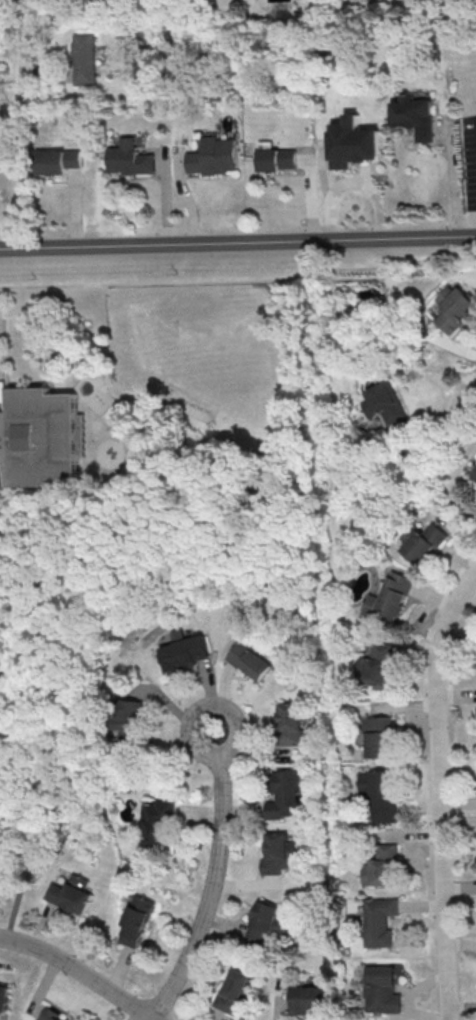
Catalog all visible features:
road: (26, 41)
building: (84, 59)
building: (415, 115)
building: (354, 142)
building: (215, 156)
building: (277, 157)
building: (130, 158)
building: (59, 161)
road: (355, 181)
road: (455, 182)
road: (237, 240)
road: (239, 280)
building: (452, 307)
road: (5, 317)
park: (208, 338)
road: (6, 350)
parking lot: (0, 351)
road: (5, 373)
building: (384, 402)
building: (40, 440)
building: (475, 454)
building: (473, 472)
building: (422, 542)
building: (388, 598)
building: (182, 650)
building: (248, 660)
building: (375, 667)
road: (226, 709)
building: (126, 718)
building: (290, 723)
building: (377, 735)
road: (439, 791)
building: (379, 793)
building: (285, 795)
building: (156, 823)
building: (279, 853)
building: (381, 866)
road: (209, 890)
building: (71, 893)
building: (137, 919)
building: (379, 921)
building: (267, 923)
road: (83, 969)
building: (382, 989)
building: (233, 990)
building: (4, 996)
building: (308, 998)
building: (51, 1014)

